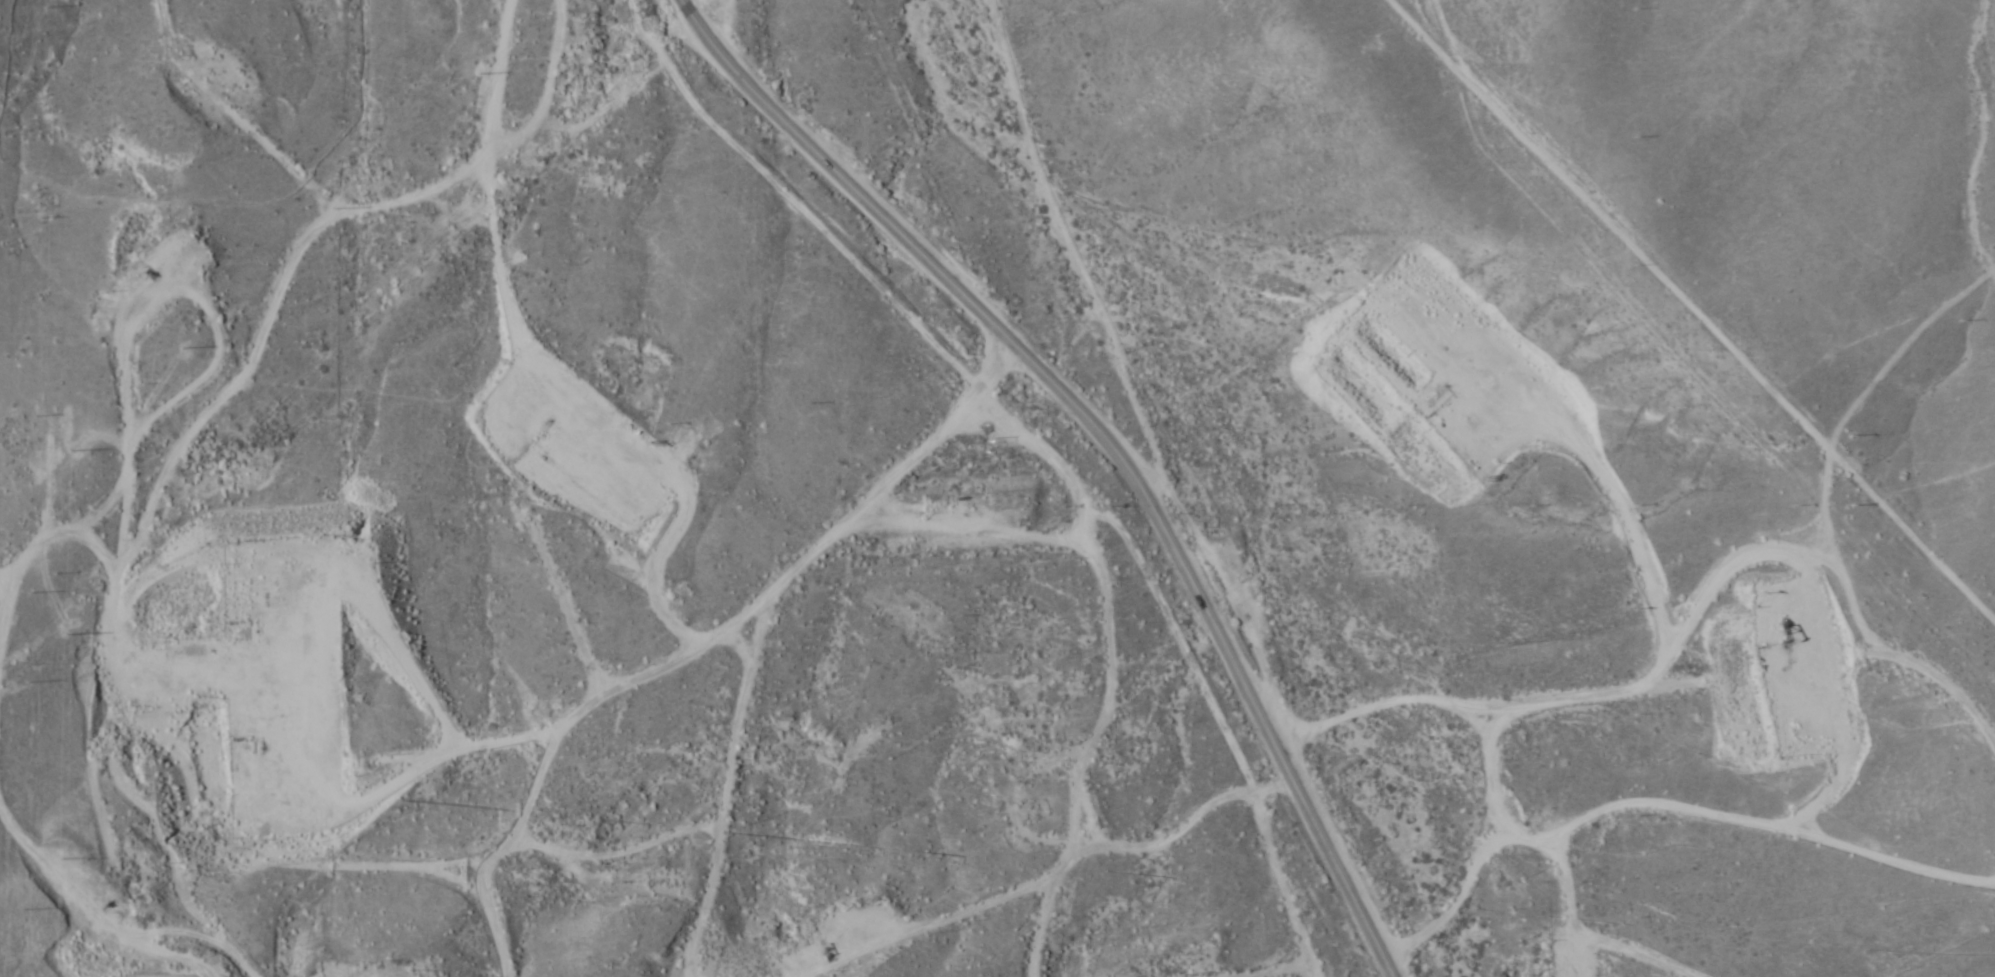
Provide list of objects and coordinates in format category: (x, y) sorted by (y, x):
road: (1108, 439)
road: (298, 468)
road: (1664, 716)

